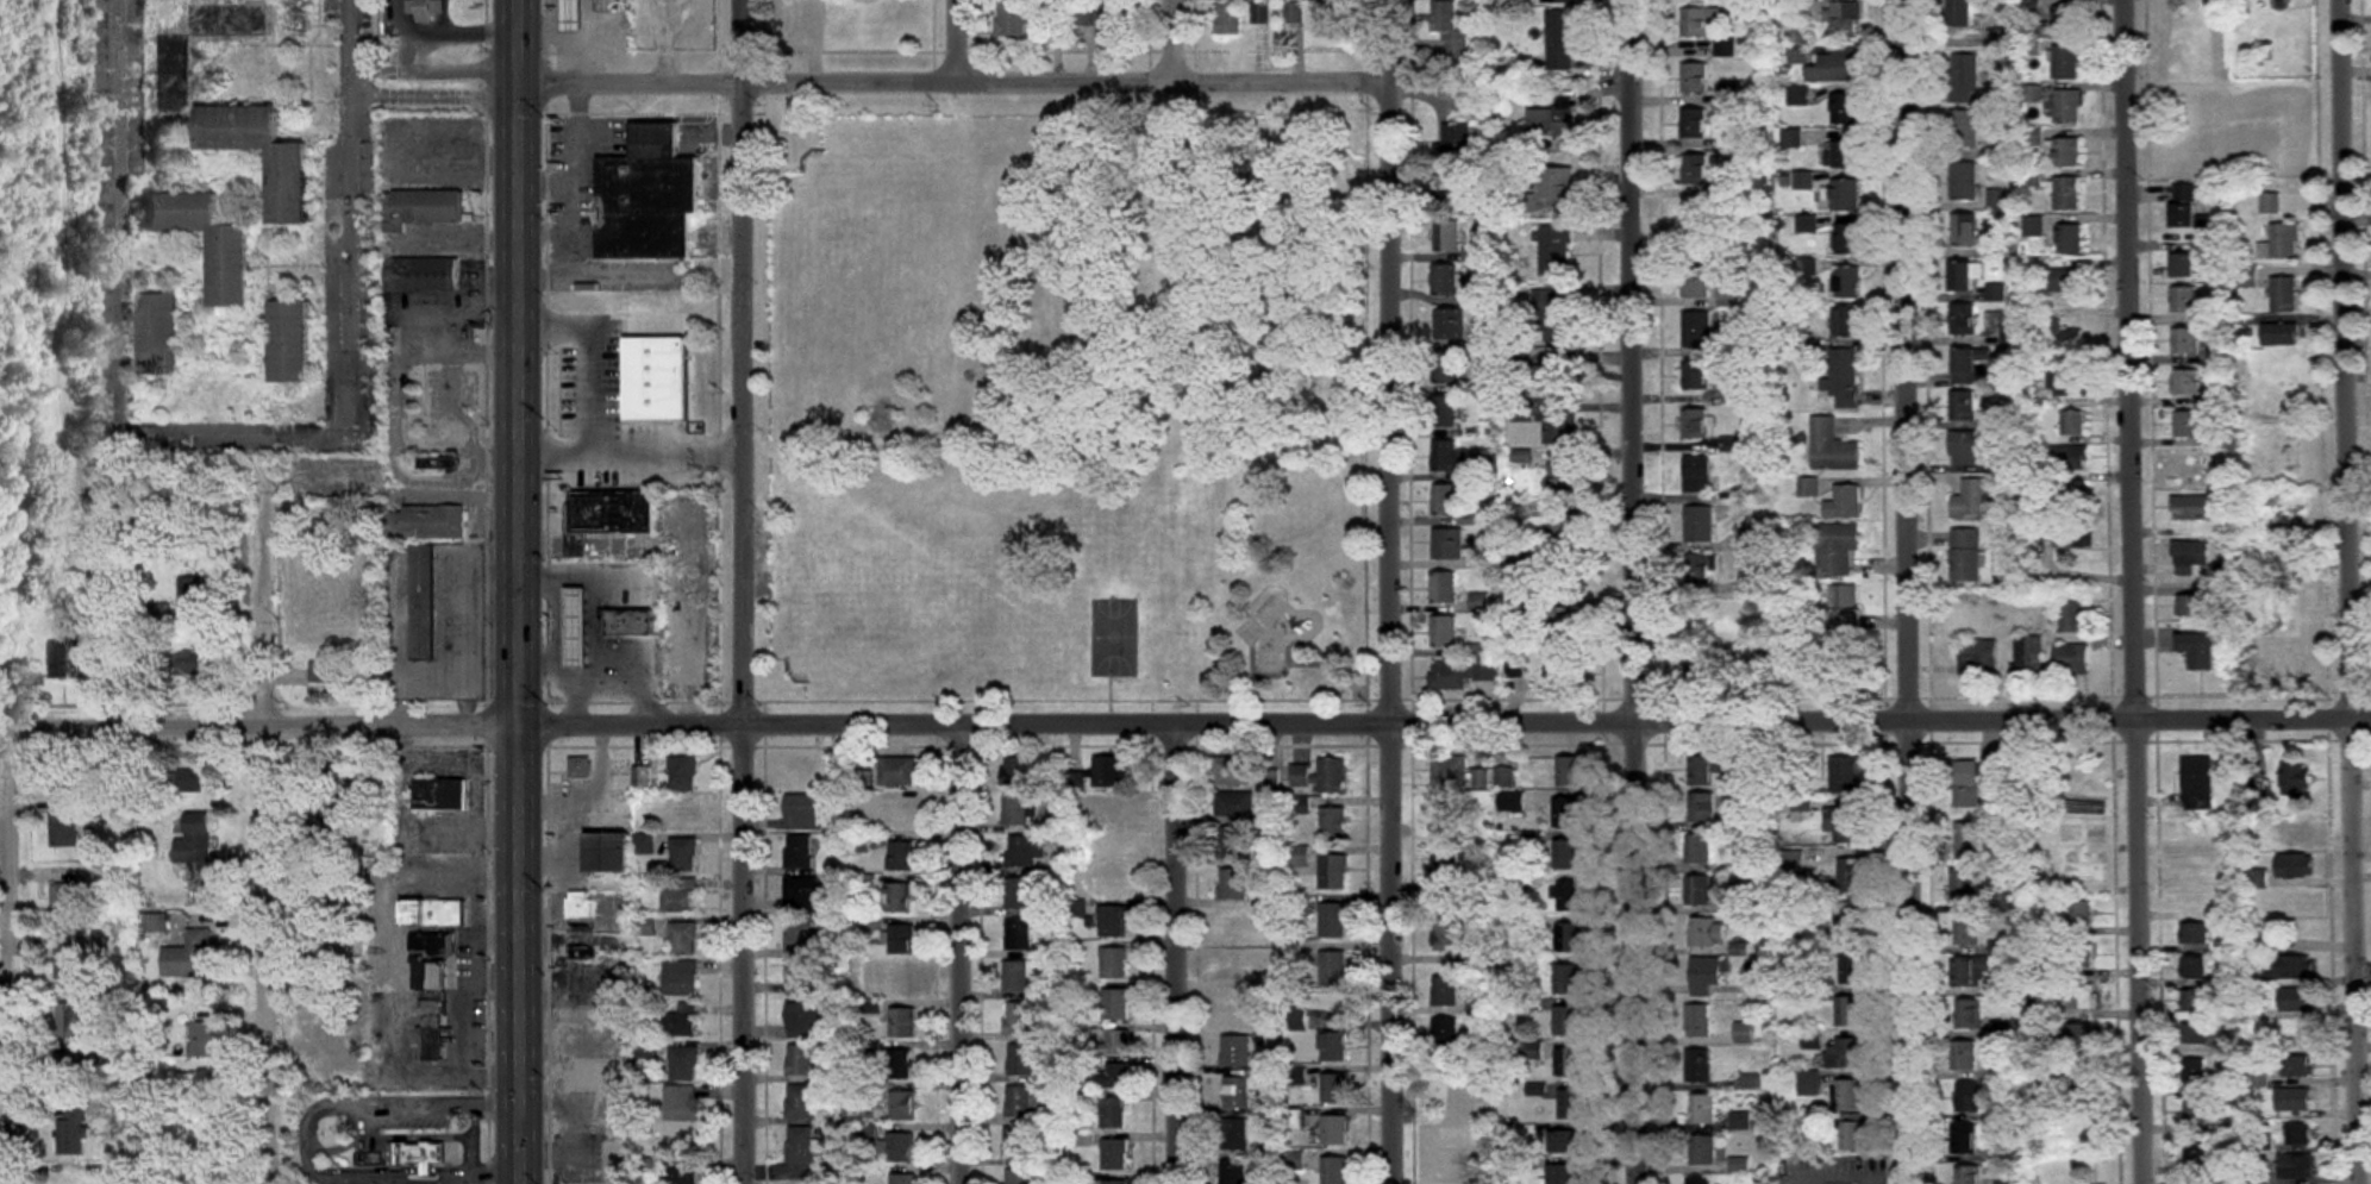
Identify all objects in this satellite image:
building: (1331, 0)
building: (1560, 1)
building: (609, 6)
building: (426, 10)
building: (1797, 10)
building: (1963, 13)
building: (1293, 14)
building: (571, 17)
building: (786, 17)
building: (294, 19)
building: (1014, 20)
building: (1230, 20)
building: (1843, 20)
building: (1112, 21)
building: (2065, 21)
building: (1700, 23)
building: (1331, 24)
building: (1449, 31)
road: (1171, 40)
building: (1559, 40)
road: (955, 42)
building: (1725, 49)
building: (2179, 51)
building: (1797, 54)
building: (2065, 63)
building: (1835, 65)
building: (170, 79)
building: (1694, 79)
building: (1964, 80)
road: (434, 81)
road: (951, 83)
building: (1797, 96)
building: (2066, 107)
building: (1845, 111)
building: (1551, 124)
building: (1694, 124)
building: (1964, 130)
building: (1790, 139)
building: (1453, 144)
building: (2066, 154)
building: (1841, 156)
building: (1694, 170)
building: (1964, 182)
building: (1557, 184)
road: (548, 186)
building: (287, 188)
building: (1726, 188)
building: (1453, 193)
building: (2066, 194)
building: (1846, 196)
building: (646, 199)
building: (2270, 205)
building: (2183, 207)
building: (423, 208)
road: (578, 209)
building: (1807, 225)
building: (1965, 231)
building: (1447, 237)
road: (548, 238)
building: (2069, 239)
building: (1847, 240)
building: (2281, 244)
building: (1556, 251)
building: (2183, 267)
building: (229, 270)
building: (421, 276)
building: (1965, 276)
building: (1445, 281)
building: (2066, 281)
building: (1696, 283)
building: (1847, 283)
building: (2284, 295)
building: (2184, 300)
building: (2215, 311)
building: (1552, 318)
building: (1964, 320)
building: (1847, 321)
building: (1450, 324)
road: (423, 330)
building: (1699, 330)
building: (158, 334)
building: (2281, 336)
building: (2066, 338)
building: (2185, 342)
building: (289, 343)
building: (1972, 367)
building: (1446, 368)
building: (1697, 376)
building: (655, 378)
building: (1554, 378)
building: (1844, 378)
building: (2187, 383)
building: (2069, 384)
road: (594, 389)
park: (1063, 403)
building: (1964, 406)
building: (1444, 412)
building: (1696, 424)
building: (2073, 424)
building: (2188, 425)
building: (1559, 428)
road: (236, 436)
building: (1833, 447)
building: (1968, 447)
road: (668, 455)
building: (1449, 457)
building: (2072, 458)
building: (439, 464)
building: (2189, 464)
building: (1490, 468)
building: (1699, 475)
building: (67, 476)
building: (1563, 478)
building: (1978, 499)
building: (1446, 501)
building: (1845, 503)
building: (2190, 508)
building: (611, 513)
building: (424, 524)
building: (1700, 525)
building: (1562, 526)
building: (67, 527)
building: (2073, 535)
building: (2288, 537)
building: (1449, 545)
building: (1838, 549)
building: (1965, 555)
building: (2190, 559)
building: (1700, 570)
building: (1563, 577)
building: (62, 588)
building: (1759, 588)
building: (1444, 589)
road: (518, 591)
road: (742, 591)
road: (1389, 591)
road: (1632, 591)
road: (1918, 591)
road: (2140, 591)
road: (2357, 591)
building: (190, 594)
building: (2288, 600)
building: (423, 603)
building: (2191, 607)
building: (1845, 609)
building: (2071, 616)
building: (630, 622)
building: (1562, 626)
building: (576, 628)
building: (1445, 632)
building: (1744, 637)
building: (1790, 650)
building: (2197, 651)
building: (1979, 653)
building: (2028, 653)
building: (2286, 658)
building: (64, 660)
building: (2070, 660)
building: (186, 663)
building: (106, 665)
road: (539, 668)
building: (1514, 668)
building: (1699, 668)
building: (1562, 669)
building: (1487, 670)
road: (559, 672)
building: (326, 674)
building: (1450, 675)
road: (574, 703)
road: (1185, 722)
building: (580, 766)
building: (1018, 770)
building: (1109, 770)
building: (1449, 770)
building: (1569, 770)
building: (1701, 770)
building: (897, 771)
building: (1232, 771)
building: (683, 773)
building: (799, 773)
building: (1321, 775)
building: (1844, 775)
building: (1990, 778)
building: (2296, 778)
building: (69, 779)
building: (179, 781)
building: (2196, 783)
building: (1965, 784)
building: (440, 794)
building: (1509, 801)
building: (2076, 802)
building: (1235, 804)
building: (1701, 806)
building: (1016, 808)
building: (1802, 808)
building: (1118, 809)
building: (1445, 809)
building: (801, 813)
building: (1565, 813)
building: (327, 814)
building: (680, 814)
building: (899, 814)
road: (19, 820)
building: (62, 823)
building: (1333, 823)
building: (1844, 823)
road: (265, 827)
building: (2291, 831)
building: (1531, 840)
building: (1968, 840)
building: (644, 844)
building: (1235, 844)
building: (195, 846)
building: (1697, 848)
building: (608, 851)
building: (1024, 852)
building: (799, 853)
building: (683, 854)
building: (1565, 854)
building: (901, 856)
building: (2295, 865)
building: (2198, 867)
building: (2078, 871)
building: (1333, 872)
building: (1445, 872)
building: (96, 876)
building: (1853, 876)
building: (1113, 878)
building: (2257, 878)
building: (1239, 884)
building: (1964, 887)
building: (1700, 891)
building: (1019, 892)
building: (802, 895)
building: (1568, 896)
building: (681, 898)
building: (899, 898)
building: (64, 901)
building: (580, 904)
building: (433, 913)
building: (2079, 914)
building: (1112, 920)
building: (1332, 920)
building: (155, 922)
building: (1847, 926)
building: (1235, 927)
building: (1968, 931)
building: (1449, 932)
building: (1706, 932)
building: (1018, 934)
building: (2194, 934)
building: (801, 936)
building: (1570, 938)
building: (684, 939)
building: (901, 939)
building: (583, 953)
road: (962, 953)
road: (1177, 953)
building: (2081, 954)
building: (189, 957)
building: (430, 959)
building: (67, 963)
building: (1113, 963)
building: (2294, 966)
building: (1233, 967)
building: (2195, 967)
building: (1333, 969)
building: (1850, 969)
building: (1969, 972)
building: (1706, 975)
building: (1016, 976)
building: (681, 978)
building: (802, 979)
building: (1565, 979)
building: (897, 981)
building: (1445, 990)
building: (2081, 996)
building: (2297, 998)
building: (2194, 1000)
building: (1114, 1004)
building: (1232, 1009)
building: (1847, 1010)
building: (1968, 1015)
building: (1019, 1017)
building: (68, 1020)
road: (459, 1020)
building: (802, 1020)
building: (1697, 1020)
building: (682, 1021)
building: (1565, 1021)
building: (902, 1022)
building: (327, 1026)
building: (433, 1029)
building: (1446, 1032)
building: (1744, 1032)
building: (2078, 1033)
building: (2192, 1033)
building: (201, 1039)
building: (1812, 1039)
building: (1118, 1042)
building: (1333, 1047)
building: (1235, 1051)
building: (1846, 1052)
building: (1964, 1055)
building: (800, 1059)
building: (1020, 1059)
building: (683, 1063)
building: (899, 1063)
building: (1569, 1063)
building: (1697, 1065)
building: (2296, 1065)
building: (2194, 1071)
building: (1115, 1077)
building: (1809, 1083)
building: (1333, 1088)
building: (1234, 1092)
building: (1846, 1094)
building: (1969, 1098)
building: (2294, 1098)
building: (2079, 1101)
building: (800, 1102)
building: (1021, 1102)
building: (681, 1103)
building: (1569, 1103)
road: (332, 1104)
building: (902, 1105)
building: (1702, 1109)
building: (2195, 1110)
building: (1112, 1113)
building: (1738, 1120)
building: (71, 1129)
building: (1333, 1129)
building: (2298, 1134)
building: (1233, 1135)
building: (1441, 1136)
building: (1852, 1136)
building: (1963, 1139)
building: (1564, 1142)
building: (1018, 1144)
building: (899, 1147)
building: (1702, 1149)
building: (803, 1151)
building: (420, 1152)
building: (2195, 1152)
building: (1113, 1154)
building: (2296, 1166)
building: (1447, 1169)
building: (1333, 1170)
road: (427, 1172)
road: (476, 1172)
building: (1233, 1172)
building: (680, 1174)
building: (1563, 1174)
building: (1968, 1176)
building: (1018, 1177)
building: (902, 1178)
building: (1697, 1180)
building: (1115, 1182)

